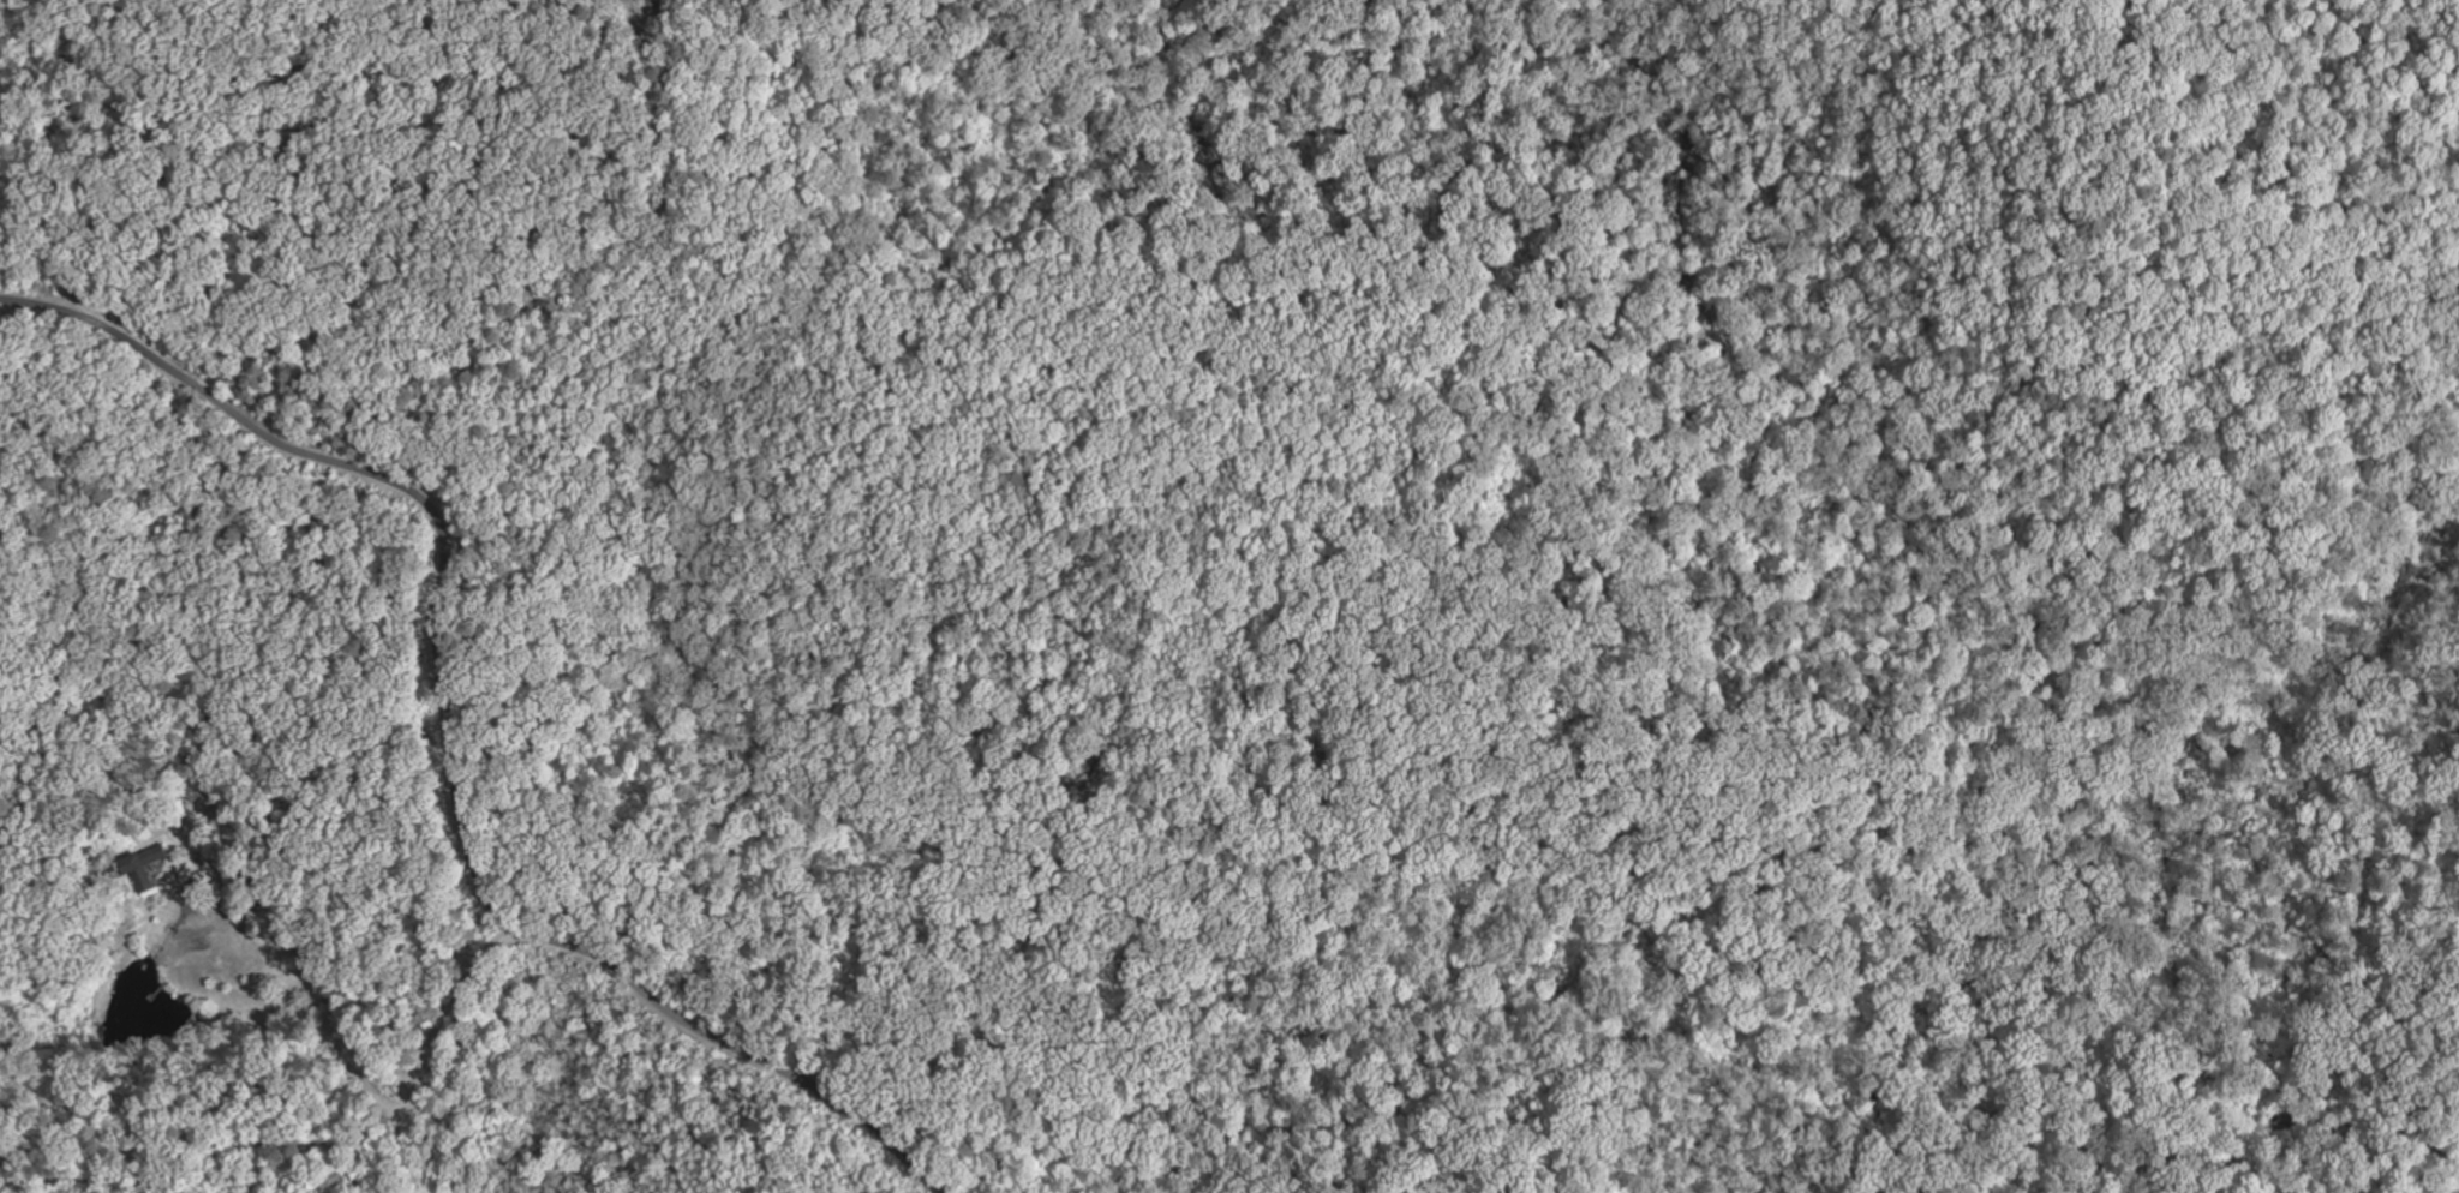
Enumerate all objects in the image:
road: (540, 301)
road: (107, 328)
road: (204, 378)
road: (467, 851)

